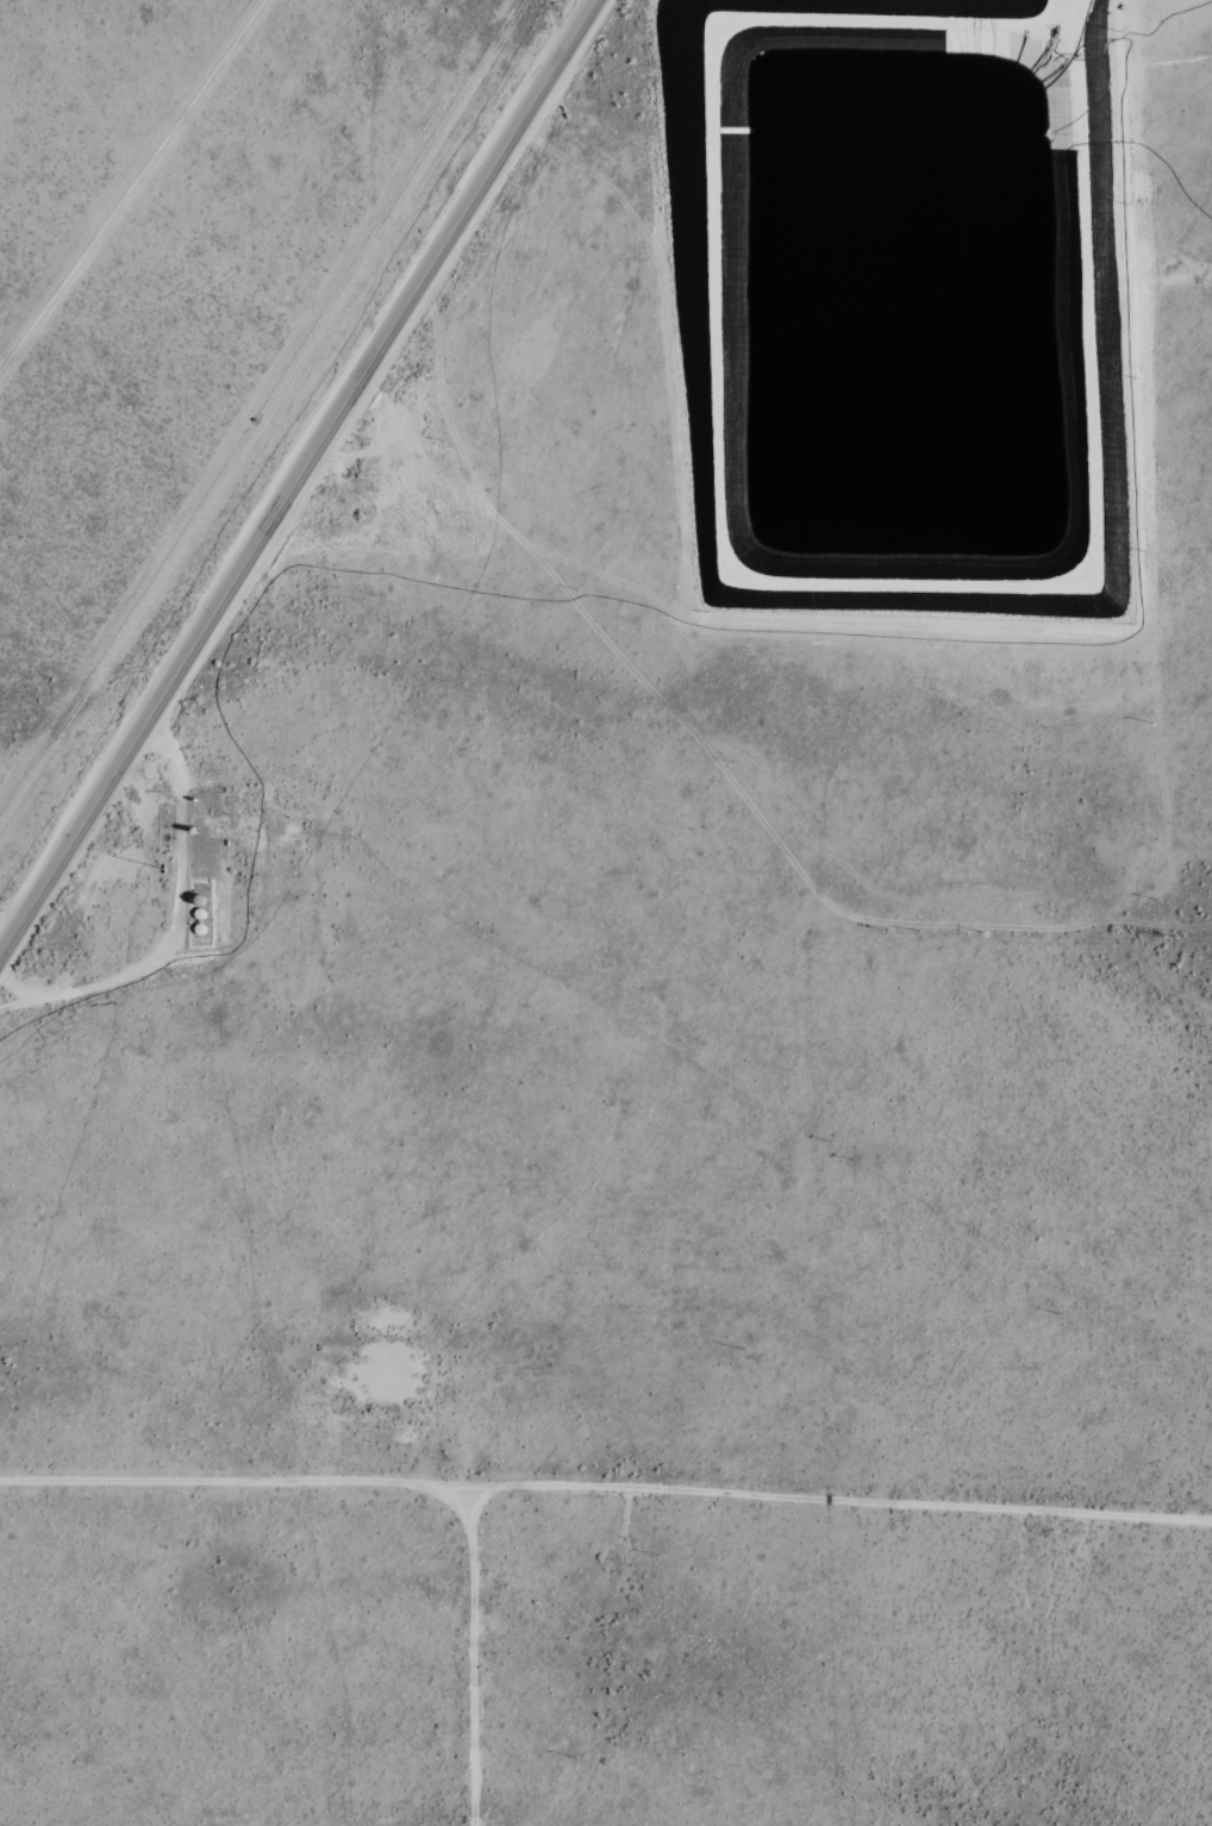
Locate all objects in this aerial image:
road: (1085, 19)
road: (298, 480)
road: (187, 823)
road: (606, 1494)
road: (479, 1658)

